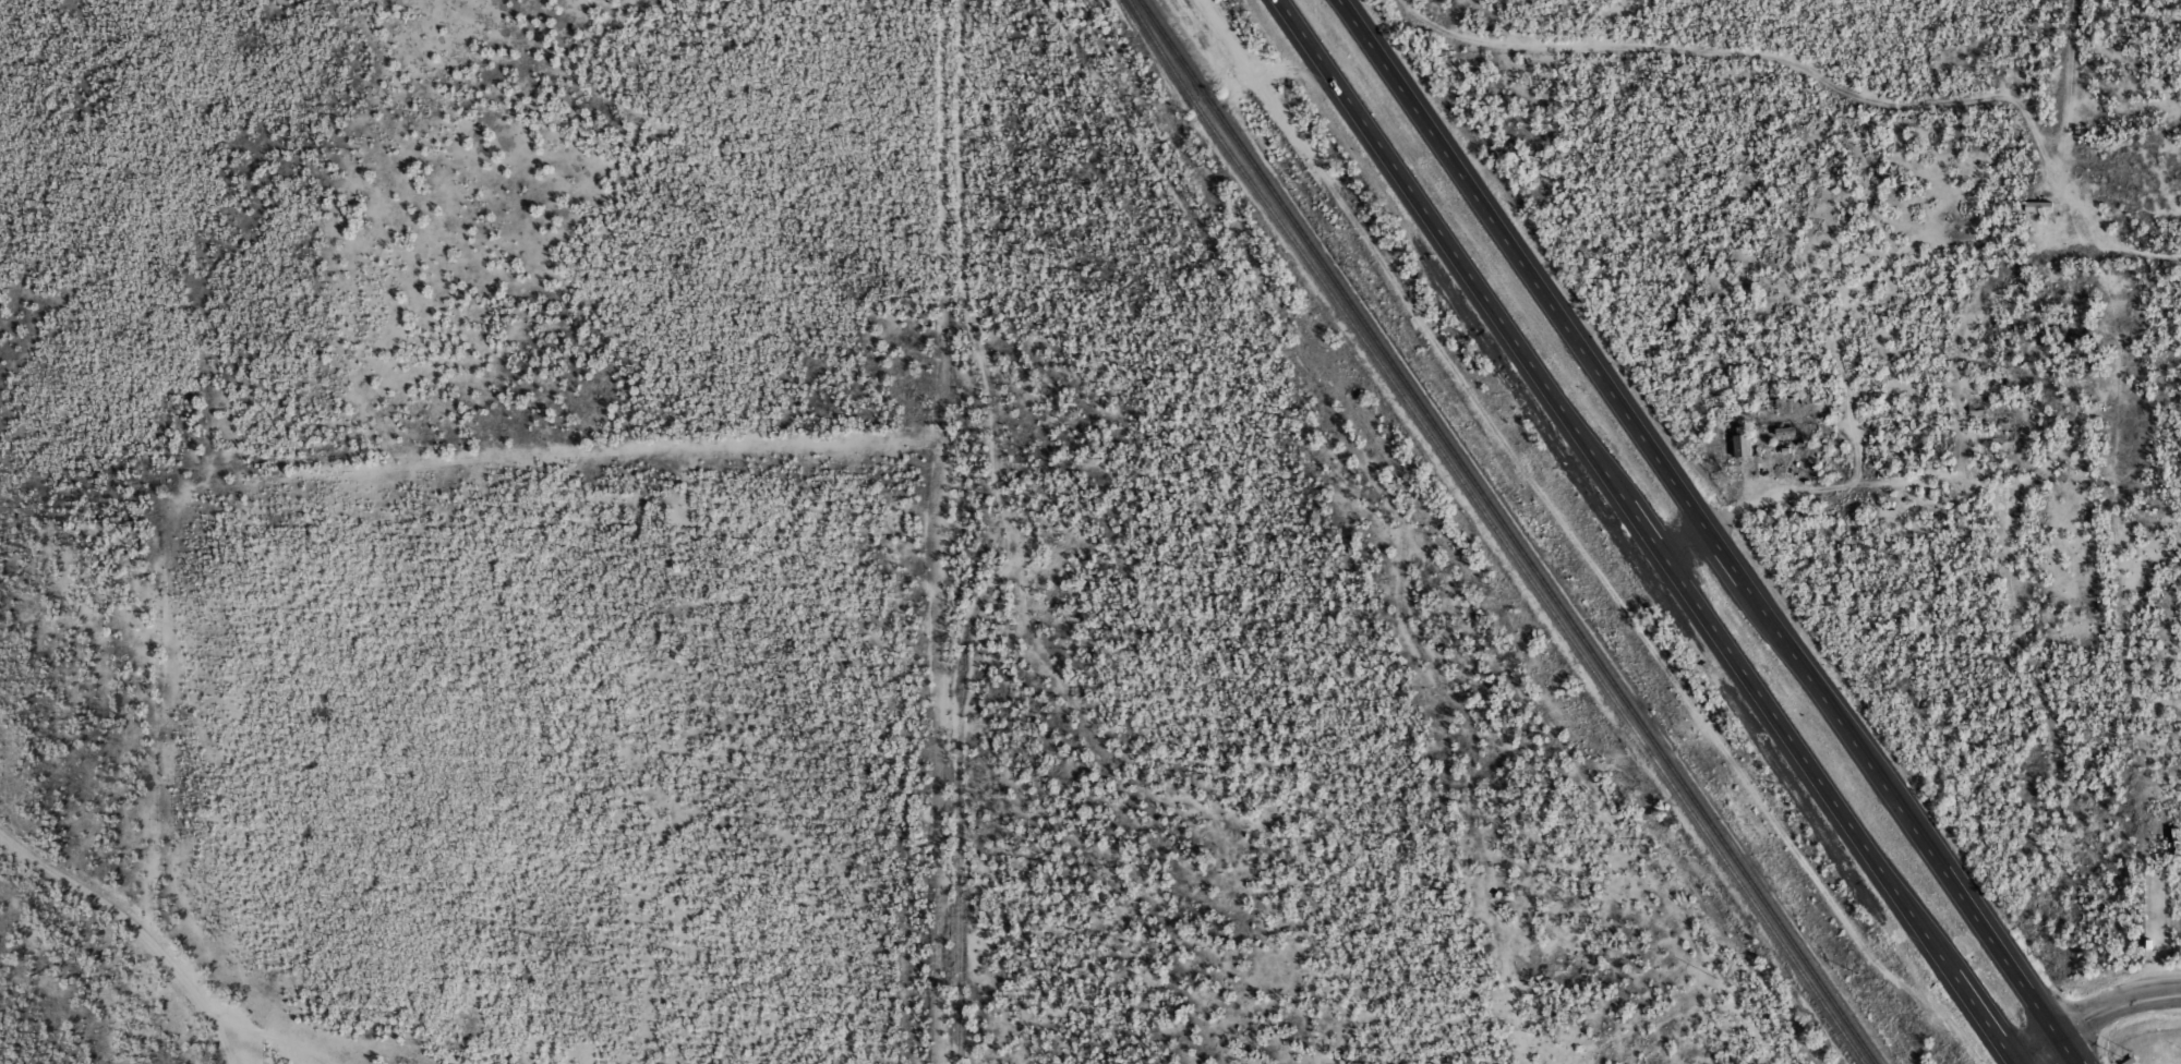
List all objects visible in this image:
road: (2041, 128)
building: (2040, 205)
road: (2102, 269)
building: (2075, 335)
building: (1787, 432)
building: (1744, 446)
building: (1776, 455)
railway: (1497, 532)
railway: (1509, 532)
road: (1650, 532)
road: (1703, 532)
building: (2177, 842)
road: (133, 931)
road: (2098, 1015)
road: (266, 1035)
building: (2133, 1061)

